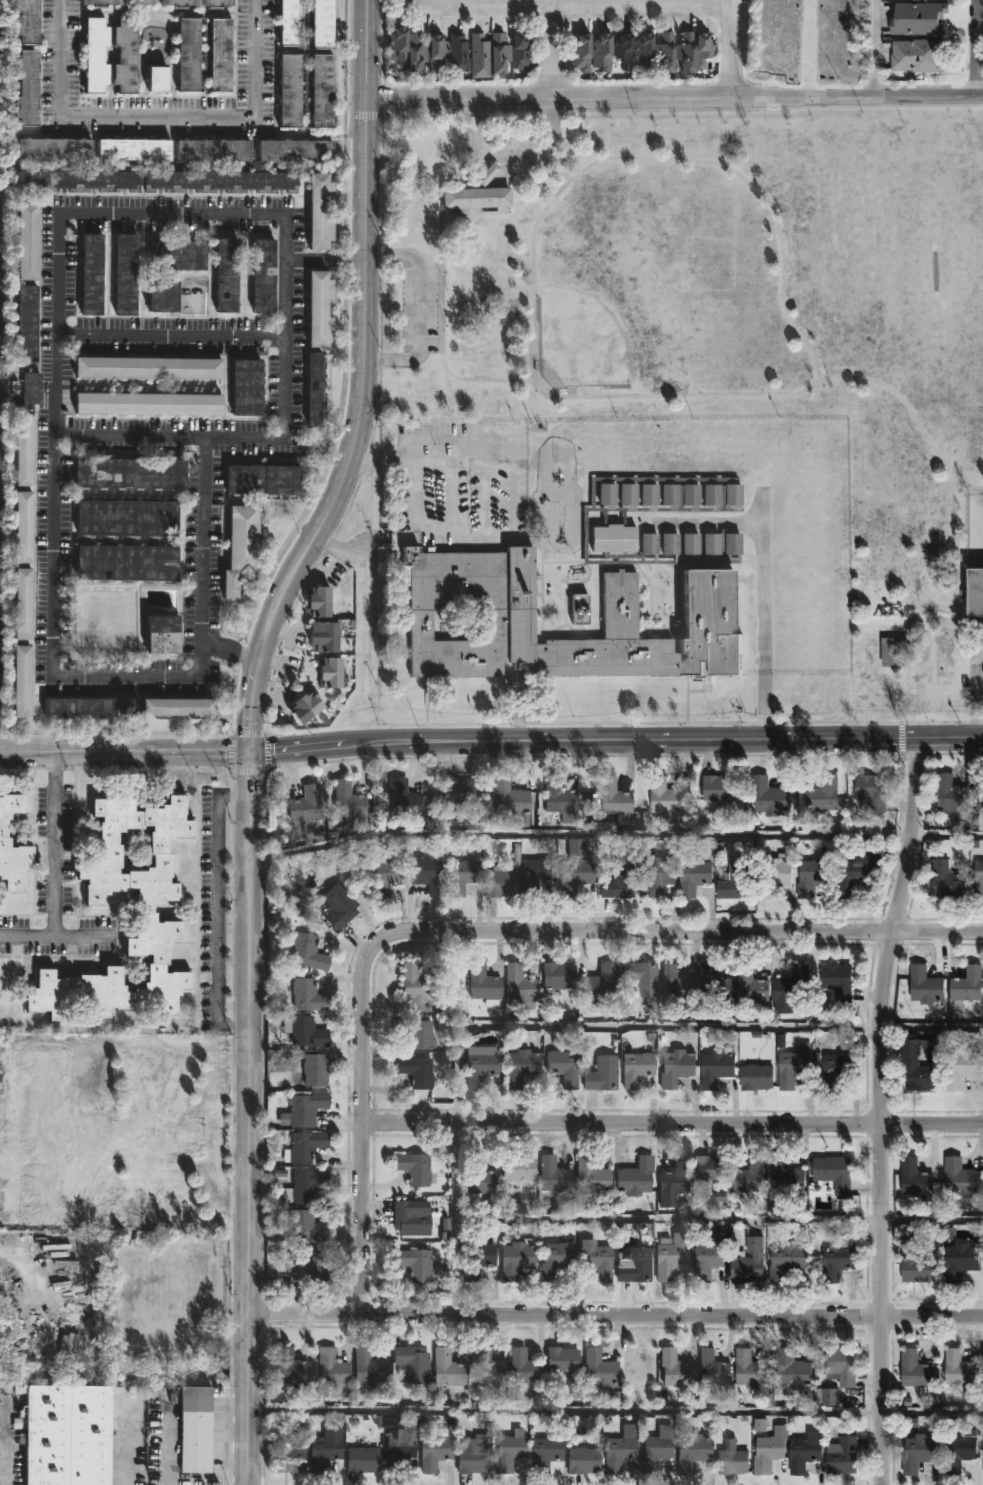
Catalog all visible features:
road: (593, 3)
building: (115, 4)
building: (195, 4)
road: (437, 4)
building: (827, 16)
building: (917, 20)
building: (27, 22)
building: (287, 22)
building: (321, 24)
building: (395, 45)
road: (731, 47)
road: (875, 47)
road: (976, 47)
road: (543, 50)
road: (554, 50)
building: (621, 51)
building: (641, 51)
building: (703, 51)
building: (521, 52)
building: (433, 53)
building: (579, 53)
building: (600, 53)
building: (665, 53)
building: (686, 53)
building: (412, 54)
building: (458, 54)
building: (499, 54)
building: (187, 55)
building: (916, 55)
building: (94, 56)
building: (124, 56)
building: (219, 56)
building: (479, 57)
building: (156, 78)
building: (26, 87)
building: (289, 90)
building: (321, 91)
road: (674, 95)
road: (156, 118)
road: (381, 137)
building: (53, 148)
building: (133, 149)
building: (212, 149)
building: (294, 150)
road: (513, 155)
road: (659, 161)
building: (78, 178)
building: (220, 179)
building: (475, 195)
building: (319, 211)
road: (134, 213)
building: (26, 241)
building: (177, 255)
road: (312, 259)
road: (353, 260)
building: (90, 274)
building: (125, 274)
building: (225, 274)
building: (263, 275)
park: (635, 291)
building: (175, 296)
road: (420, 306)
parking lot: (420, 307)
building: (319, 308)
park: (726, 318)
building: (26, 323)
road: (170, 336)
building: (147, 368)
building: (246, 387)
road: (363, 388)
building: (314, 390)
building: (28, 391)
road: (728, 395)
building: (147, 404)
road: (128, 436)
building: (23, 450)
road: (403, 462)
building: (128, 474)
road: (968, 475)
building: (263, 480)
building: (661, 509)
building: (126, 518)
road: (708, 522)
building: (22, 528)
road: (343, 546)
building: (240, 548)
building: (126, 562)
building: (978, 592)
building: (317, 602)
building: (22, 604)
building: (580, 610)
road: (932, 614)
building: (706, 618)
road: (762, 619)
building: (162, 634)
building: (327, 636)
building: (891, 651)
building: (330, 673)
building: (21, 682)
road: (974, 705)
building: (305, 707)
building: (78, 708)
building: (177, 708)
road: (623, 723)
road: (247, 735)
road: (616, 739)
road: (266, 752)
road: (125, 753)
road: (231, 753)
traffic signals: (251, 753)
road: (249, 772)
building: (717, 787)
building: (457, 790)
building: (873, 791)
building: (824, 794)
building: (559, 797)
building: (955, 797)
building: (400, 798)
building: (508, 798)
building: (769, 798)
building: (668, 800)
building: (612, 801)
building: (349, 803)
building: (305, 805)
road: (615, 833)
building: (4, 843)
road: (58, 844)
building: (575, 868)
building: (539, 872)
building: (856, 872)
building: (657, 874)
building: (774, 875)
building: (695, 876)
building: (427, 877)
building: (462, 877)
building: (812, 877)
building: (383, 879)
building: (946, 880)
building: (979, 880)
building: (737, 881)
building: (619, 882)
building: (501, 883)
building: (93, 905)
building: (336, 907)
road: (218, 908)
road: (491, 932)
road: (58, 935)
building: (306, 952)
building: (558, 976)
building: (641, 979)
building: (416, 982)
building: (678, 983)
building: (835, 983)
building: (519, 985)
building: (599, 985)
building: (752, 985)
building: (483, 986)
building: (927, 986)
building: (968, 986)
building: (716, 989)
building: (792, 989)
building: (307, 996)
road: (572, 1025)
building: (306, 1031)
building: (414, 1033)
road: (131, 1044)
building: (915, 1060)
building: (519, 1063)
building: (480, 1066)
building: (795, 1066)
building: (563, 1068)
building: (677, 1068)
building: (716, 1068)
building: (838, 1068)
building: (963, 1068)
building: (314, 1069)
building: (636, 1069)
building: (415, 1072)
building: (602, 1075)
building: (757, 1078)
building: (305, 1108)
road: (880, 1109)
road: (249, 1118)
road: (6, 1121)
road: (672, 1125)
building: (111, 1137)
road: (212, 1137)
building: (304, 1146)
building: (518, 1167)
building: (712, 1167)
building: (414, 1168)
building: (838, 1173)
building: (554, 1175)
building: (752, 1175)
building: (478, 1176)
building: (916, 1176)
building: (592, 1177)
building: (636, 1177)
building: (676, 1177)
building: (789, 1177)
building: (962, 1177)
building: (307, 1183)
road: (718, 1218)
building: (409, 1219)
building: (307, 1225)
building: (518, 1255)
building: (671, 1255)
building: (557, 1257)
building: (749, 1258)
building: (477, 1259)
building: (597, 1259)
building: (787, 1259)
building: (708, 1260)
building: (840, 1260)
building: (961, 1260)
building: (415, 1263)
building: (916, 1264)
building: (634, 1265)
building: (309, 1267)
road: (615, 1315)
building: (562, 1359)
building: (412, 1363)
building: (842, 1366)
building: (290, 1367)
building: (369, 1367)
building: (448, 1367)
building: (524, 1367)
building: (332, 1368)
building: (714, 1368)
building: (960, 1368)
building: (487, 1369)
building: (676, 1369)
building: (792, 1369)
building: (600, 1370)
building: (752, 1370)
building: (917, 1371)
building: (828, 1395)
road: (616, 1411)
building: (195, 1429)
building: (66, 1434)
road: (3, 1441)
building: (401, 1445)
building: (620, 1449)
road: (124, 1450)
building: (767, 1450)
building: (921, 1450)
building: (324, 1451)
building: (434, 1451)
building: (509, 1451)
building: (806, 1451)
building: (693, 1452)
building: (545, 1453)
building: (655, 1453)
building: (959, 1453)
building: (288, 1455)
building: (362, 1456)
building: (474, 1456)
building: (841, 1456)
building: (730, 1459)
building: (583, 1460)

